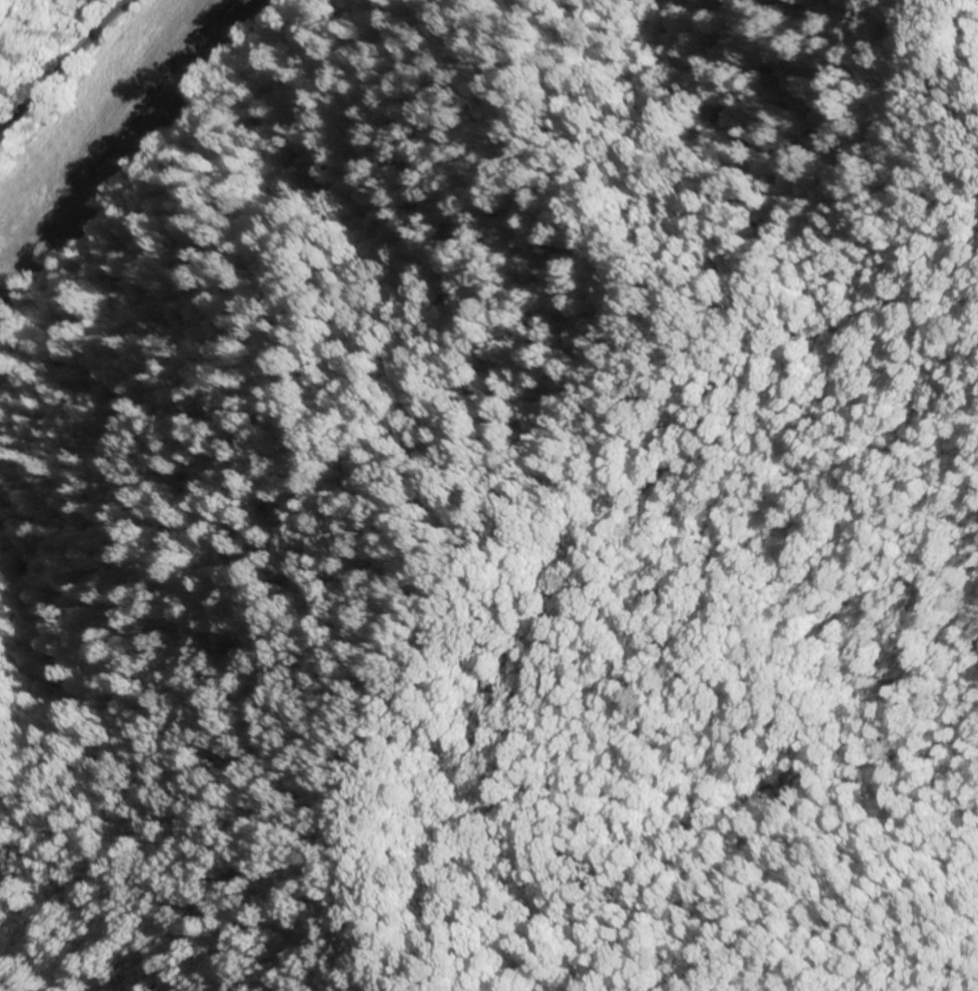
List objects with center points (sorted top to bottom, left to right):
road: (64, 66)

